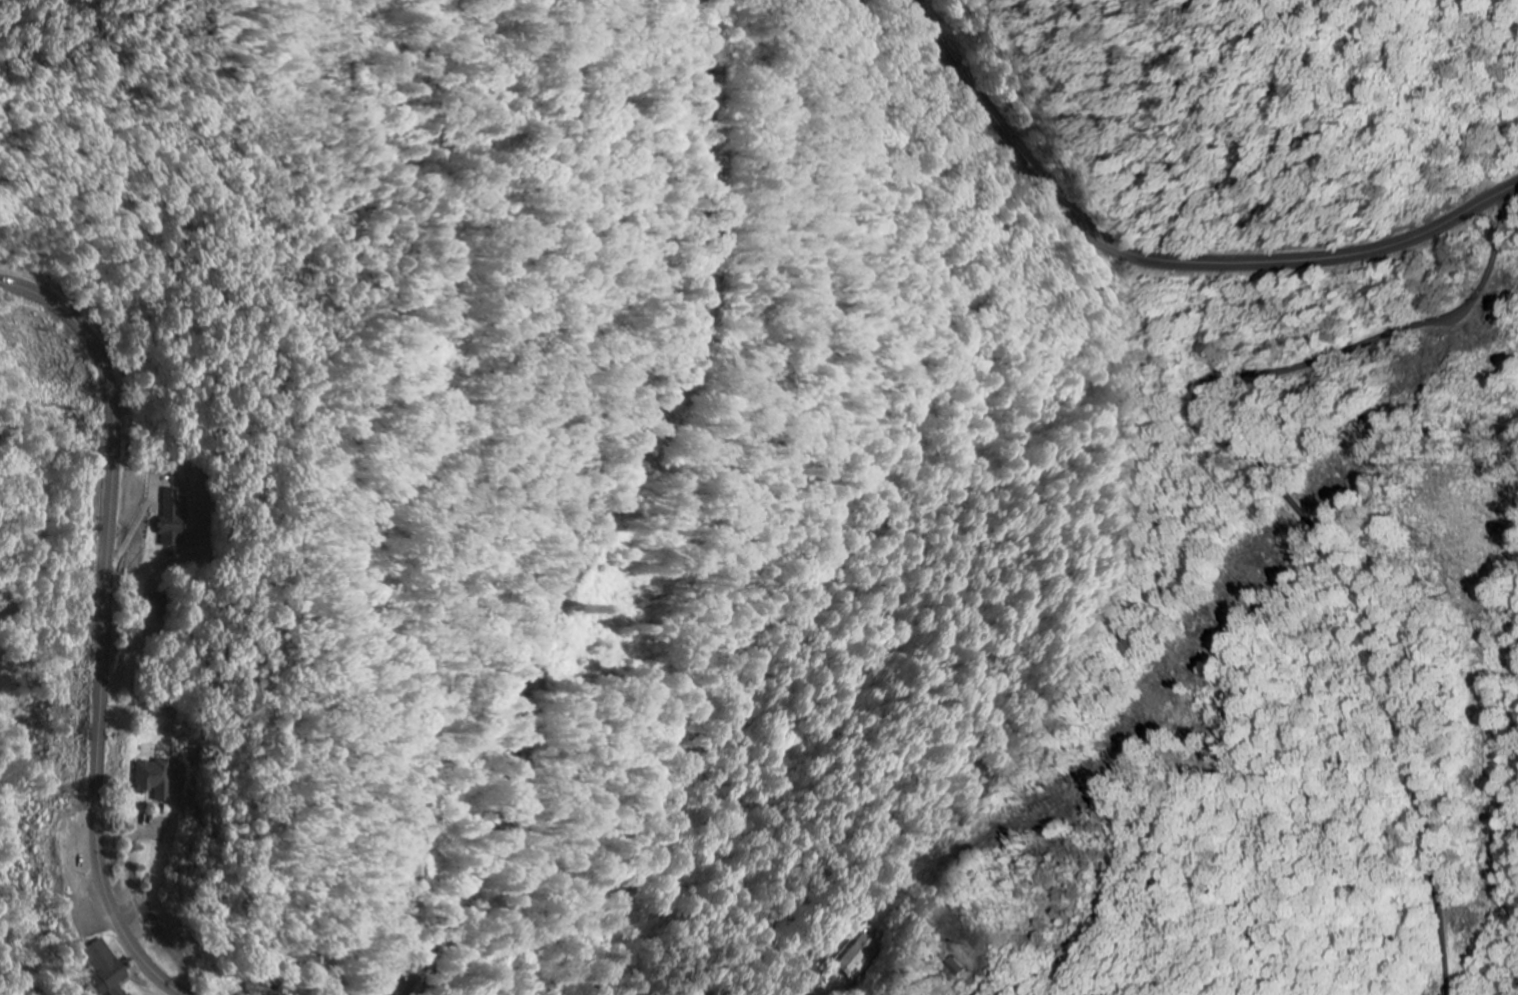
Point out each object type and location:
road: (1162, 257)
road: (397, 488)
road: (603, 508)
building: (172, 513)
road: (1359, 593)
road: (105, 625)
building: (156, 780)
building: (105, 967)

